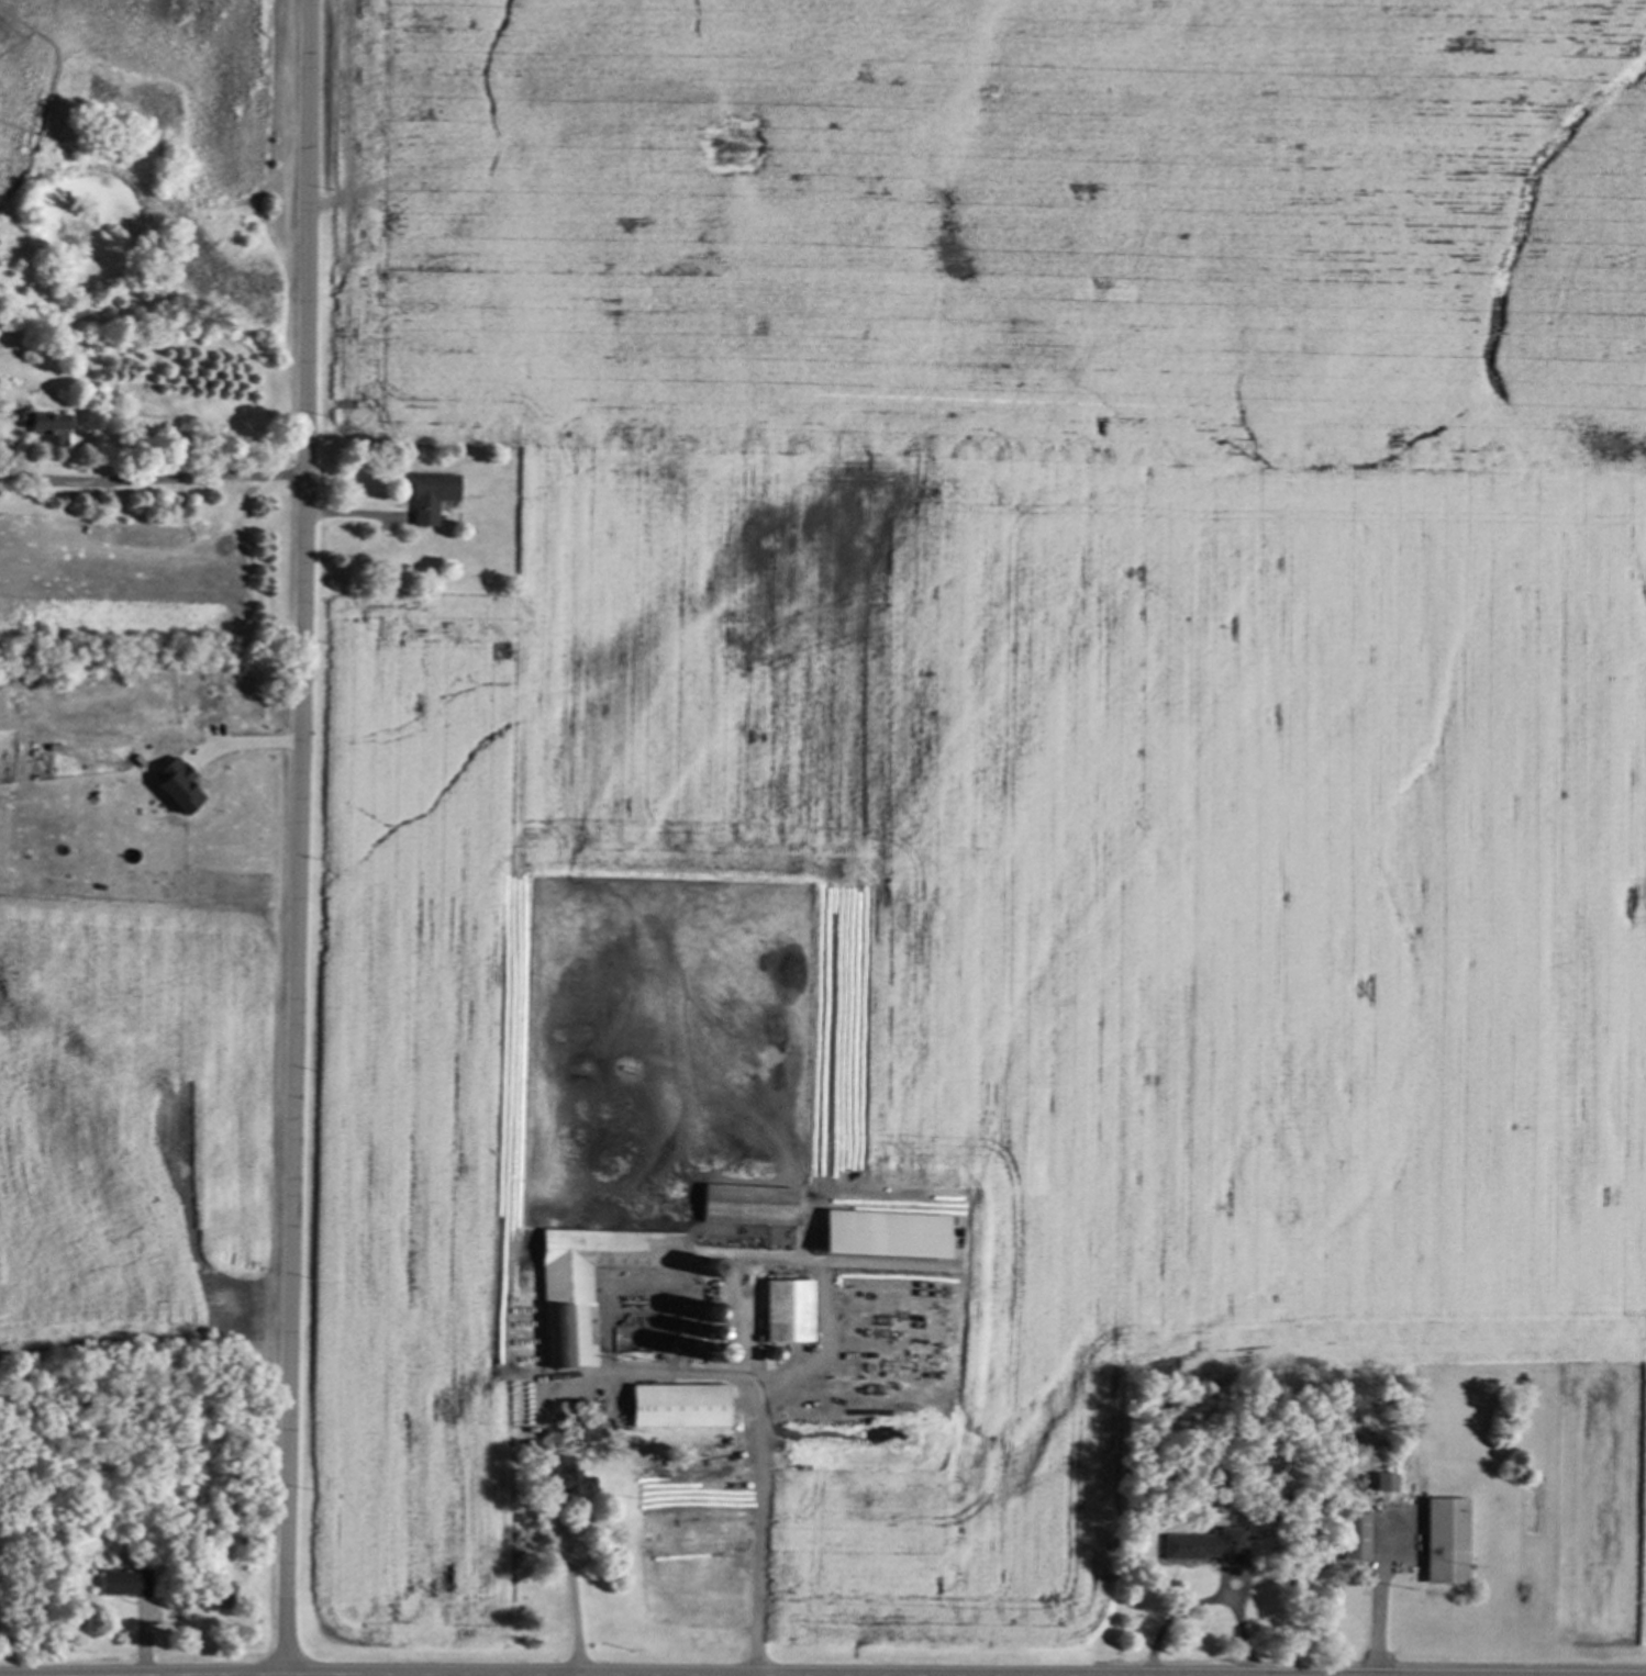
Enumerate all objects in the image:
building: (48, 427)
road: (151, 479)
building: (429, 496)
crop: (994, 734)
building: (175, 784)
road: (297, 837)
crop: (133, 1131)
building: (745, 1204)
building: (881, 1232)
building: (589, 1282)
building: (786, 1310)
building: (677, 1405)
road: (545, 1423)
building: (566, 1478)
building: (1383, 1482)
road: (761, 1528)
building: (1353, 1535)
building: (1444, 1540)
building: (1202, 1544)
building: (121, 1582)
road: (1378, 1593)
road: (1171, 1613)
road: (1239, 1621)

